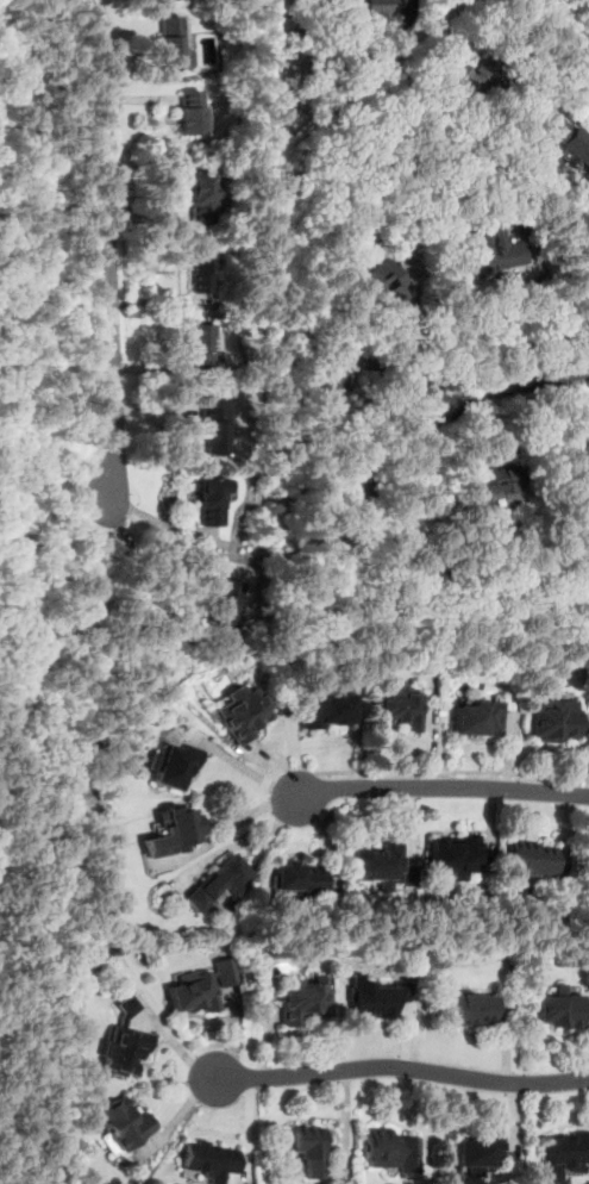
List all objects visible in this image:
building: (375, 7)
road: (560, 21)
building: (169, 43)
building: (462, 77)
building: (190, 112)
building: (565, 139)
building: (200, 198)
road: (107, 247)
building: (491, 255)
building: (199, 267)
building: (377, 282)
road: (544, 319)
building: (196, 344)
building: (332, 376)
road: (515, 384)
building: (212, 425)
building: (577, 462)
building: (493, 486)
building: (209, 501)
road: (149, 557)
building: (223, 604)
building: (394, 705)
building: (325, 709)
building: (242, 713)
building: (474, 717)
building: (551, 719)
building: (168, 765)
road: (451, 772)
road: (433, 789)
building: (170, 830)
road: (223, 830)
building: (451, 856)
building: (526, 861)
building: (585, 864)
building: (377, 865)
building: (296, 881)
building: (217, 883)
building: (198, 987)
building: (375, 997)
building: (300, 999)
building: (469, 1009)
building: (557, 1009)
building: (121, 1042)
road: (396, 1067)
building: (123, 1123)
road: (174, 1133)
building: (306, 1148)
building: (388, 1149)
building: (478, 1149)
building: (564, 1153)
building: (208, 1160)

